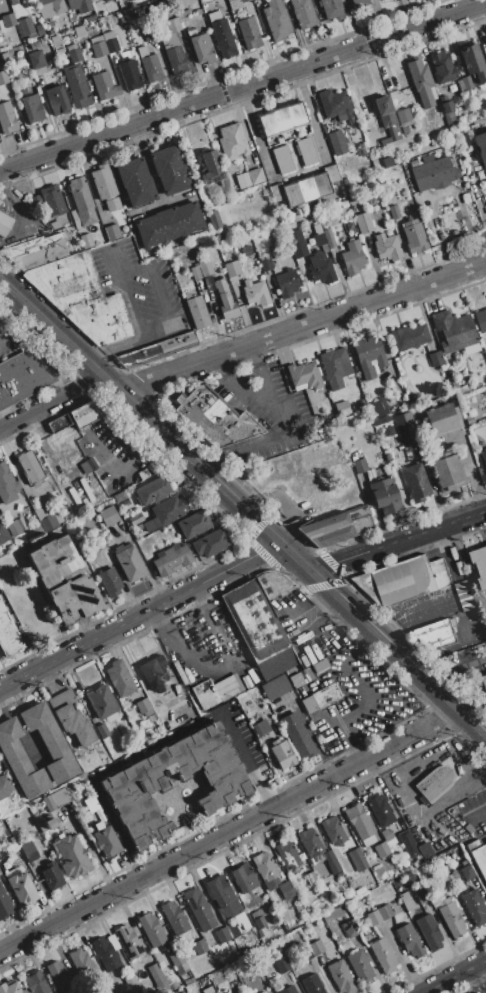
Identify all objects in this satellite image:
building: (0, 0)
building: (105, 0)
building: (243, 0)
building: (380, 0)
building: (14, 1)
building: (42, 1)
building: (360, 3)
building: (77, 4)
building: (235, 5)
building: (52, 8)
building: (332, 9)
building: (198, 11)
building: (184, 13)
building: (303, 13)
building: (8, 20)
building: (276, 20)
building: (173, 24)
building: (26, 27)
building: (1, 29)
building: (39, 29)
building: (79, 30)
building: (191, 31)
building: (248, 32)
building: (222, 34)
building: (485, 39)
building: (110, 42)
building: (161, 42)
building: (57, 43)
building: (201, 48)
building: (98, 49)
building: (142, 51)
building: (74, 52)
building: (6, 57)
building: (36, 59)
building: (177, 59)
building: (472, 60)
building: (485, 61)
building: (442, 67)
building: (151, 68)
building: (130, 75)
building: (3, 77)
building: (421, 82)
building: (464, 83)
building: (77, 85)
building: (104, 86)
road: (243, 86)
building: (57, 100)
building: (335, 104)
building: (447, 106)
building: (32, 107)
road: (309, 113)
building: (7, 118)
building: (282, 119)
building: (386, 119)
building: (404, 119)
road: (253, 129)
building: (232, 142)
building: (336, 142)
building: (361, 149)
building: (480, 149)
building: (306, 151)
building: (282, 159)
building: (387, 162)
building: (210, 167)
building: (169, 170)
building: (432, 172)
building: (331, 173)
building: (249, 178)
building: (344, 178)
building: (103, 182)
building: (135, 182)
building: (321, 185)
building: (305, 188)
building: (276, 192)
building: (291, 194)
building: (485, 194)
building: (352, 198)
building: (52, 200)
building: (81, 200)
building: (371, 200)
building: (36, 201)
building: (344, 202)
road: (2, 203)
building: (394, 212)
road: (2, 214)
building: (213, 218)
building: (5, 223)
building: (363, 223)
building: (54, 224)
building: (169, 225)
building: (348, 226)
building: (112, 232)
building: (317, 235)
building: (219, 236)
building: (413, 236)
building: (329, 238)
building: (70, 239)
building: (86, 240)
building: (296, 242)
building: (386, 244)
building: (245, 249)
building: (37, 251)
building: (352, 258)
building: (266, 263)
building: (205, 267)
building: (320, 268)
building: (231, 269)
road: (121, 272)
building: (195, 272)
building: (286, 282)
building: (255, 292)
building: (186, 294)
building: (82, 297)
building: (224, 300)
road: (129, 306)
road: (166, 312)
building: (197, 312)
building: (480, 319)
road: (301, 325)
road: (20, 327)
building: (454, 330)
building: (409, 336)
road: (113, 347)
building: (156, 348)
building: (471, 349)
building: (369, 356)
building: (435, 358)
building: (334, 367)
building: (28, 373)
road: (263, 373)
building: (303, 375)
building: (456, 386)
road: (237, 391)
parking lot: (260, 393)
road: (52, 402)
building: (483, 403)
building: (379, 406)
building: (342, 408)
road: (138, 409)
building: (87, 412)
building: (441, 418)
building: (215, 419)
building: (381, 420)
building: (57, 423)
building: (406, 427)
building: (389, 430)
building: (289, 438)
road: (255, 443)
building: (408, 452)
building: (388, 457)
building: (483, 458)
building: (284, 462)
building: (88, 464)
building: (155, 464)
road: (128, 465)
building: (359, 465)
building: (30, 466)
building: (447, 470)
building: (252, 474)
building: (415, 481)
building: (7, 485)
building: (48, 486)
building: (152, 491)
building: (383, 493)
building: (119, 496)
building: (75, 499)
building: (22, 501)
building: (125, 502)
building: (71, 503)
building: (41, 511)
building: (165, 513)
building: (108, 515)
building: (135, 519)
building: (50, 521)
building: (193, 524)
building: (138, 527)
building: (336, 527)
building: (16, 532)
building: (3, 533)
road: (398, 540)
traffic signals: (278, 542)
building: (211, 543)
building: (11, 547)
building: (104, 548)
building: (0, 555)
road: (293, 556)
building: (12, 559)
building: (171, 559)
building: (129, 562)
road: (144, 563)
building: (4, 564)
building: (478, 565)
traffic signals: (310, 570)
building: (64, 580)
building: (402, 580)
building: (109, 582)
building: (463, 596)
building: (32, 614)
road: (138, 615)
building: (261, 622)
building: (483, 625)
building: (8, 634)
building: (433, 634)
road: (384, 640)
building: (306, 662)
building: (319, 665)
road: (456, 669)
building: (153, 672)
building: (290, 672)
building: (308, 673)
building: (119, 678)
building: (297, 678)
building: (218, 681)
building: (171, 682)
building: (483, 683)
gas station: (483, 683)
building: (275, 687)
building: (229, 688)
building: (204, 694)
building: (321, 698)
building: (102, 702)
building: (145, 709)
building: (70, 718)
road: (472, 723)
building: (261, 728)
building: (102, 730)
building: (297, 735)
building: (50, 742)
building: (281, 753)
building: (77, 756)
building: (20, 760)
road: (245, 760)
building: (455, 766)
building: (434, 783)
building: (6, 785)
building: (135, 786)
building: (57, 798)
building: (379, 809)
road: (479, 814)
building: (449, 821)
building: (45, 822)
building: (360, 823)
building: (468, 829)
road: (229, 830)
building: (332, 830)
building: (386, 834)
building: (51, 835)
building: (105, 840)
building: (406, 840)
building: (310, 842)
building: (431, 842)
building: (381, 849)
building: (28, 850)
building: (425, 850)
building: (287, 854)
building: (71, 855)
building: (478, 856)
building: (357, 859)
building: (331, 862)
building: (264, 866)
building: (0, 872)
building: (466, 872)
building: (52, 875)
building: (340, 876)
building: (244, 878)
building: (311, 878)
building: (440, 878)
building: (34, 883)
building: (20, 886)
building: (286, 890)
building: (420, 894)
building: (226, 900)
building: (406, 901)
building: (4, 903)
building: (473, 907)
building: (199, 908)
building: (249, 909)
building: (298, 909)
building: (385, 911)
building: (256, 913)
building: (158, 916)
building: (373, 917)
building: (450, 917)
building: (174, 918)
building: (259, 922)
building: (349, 928)
building: (151, 930)
building: (429, 931)
building: (223, 934)
building: (409, 940)
building: (128, 942)
building: (200, 946)
building: (316, 947)
building: (106, 953)
building: (304, 953)
building: (383, 955)
building: (81, 961)
building: (178, 963)
building: (282, 965)
road: (483, 965)
building: (360, 967)
building: (60, 976)
building: (289, 976)
building: (340, 976)
road: (453, 976)
building: (156, 977)
road: (477, 979)
building: (36, 982)
building: (131, 983)
building: (311, 984)
building: (177, 986)
building: (296, 986)
building: (11, 988)
building: (209, 989)
building: (106, 990)
building: (287, 990)
building: (72, 991)
building: (181, 992)
building: (226, 992)
building: (478, 992)

